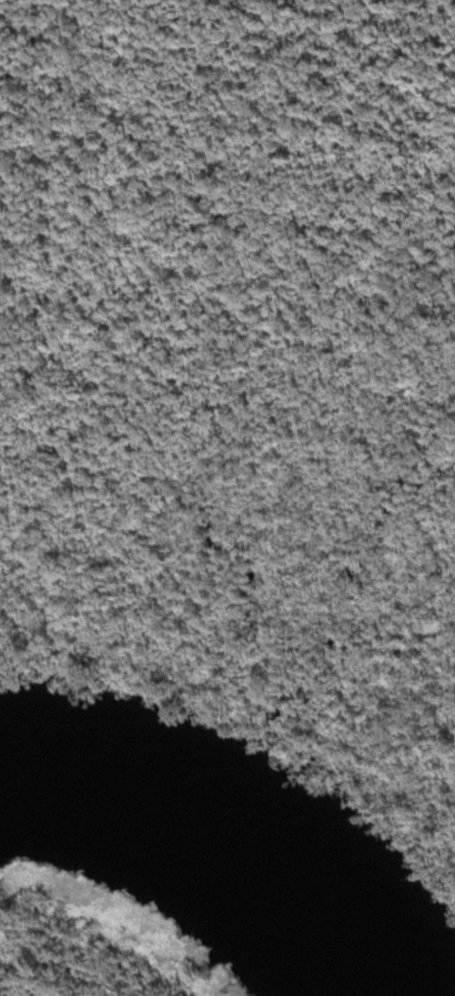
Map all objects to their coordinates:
river: (215, 842)

